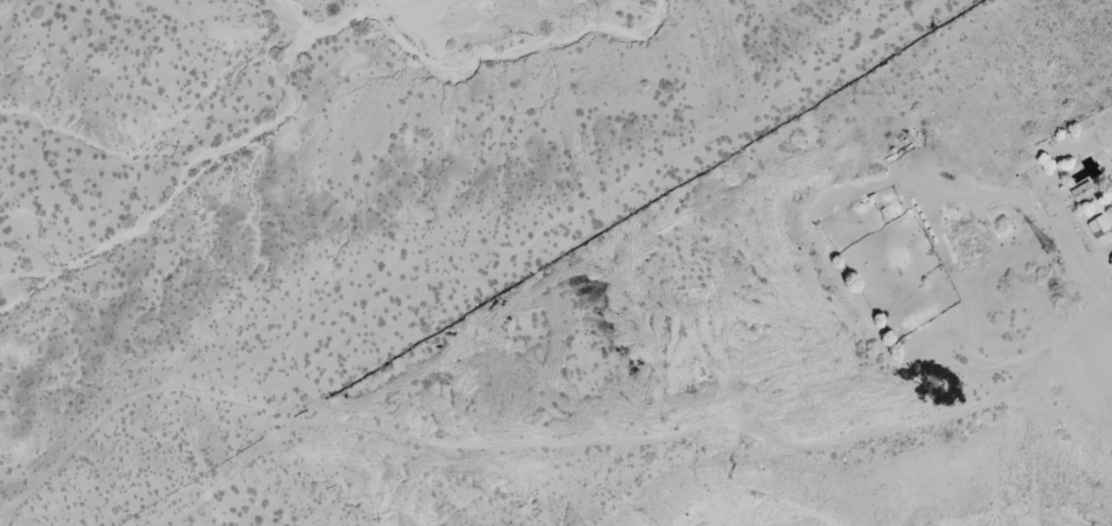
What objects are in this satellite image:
power tower: (1047, 247)

